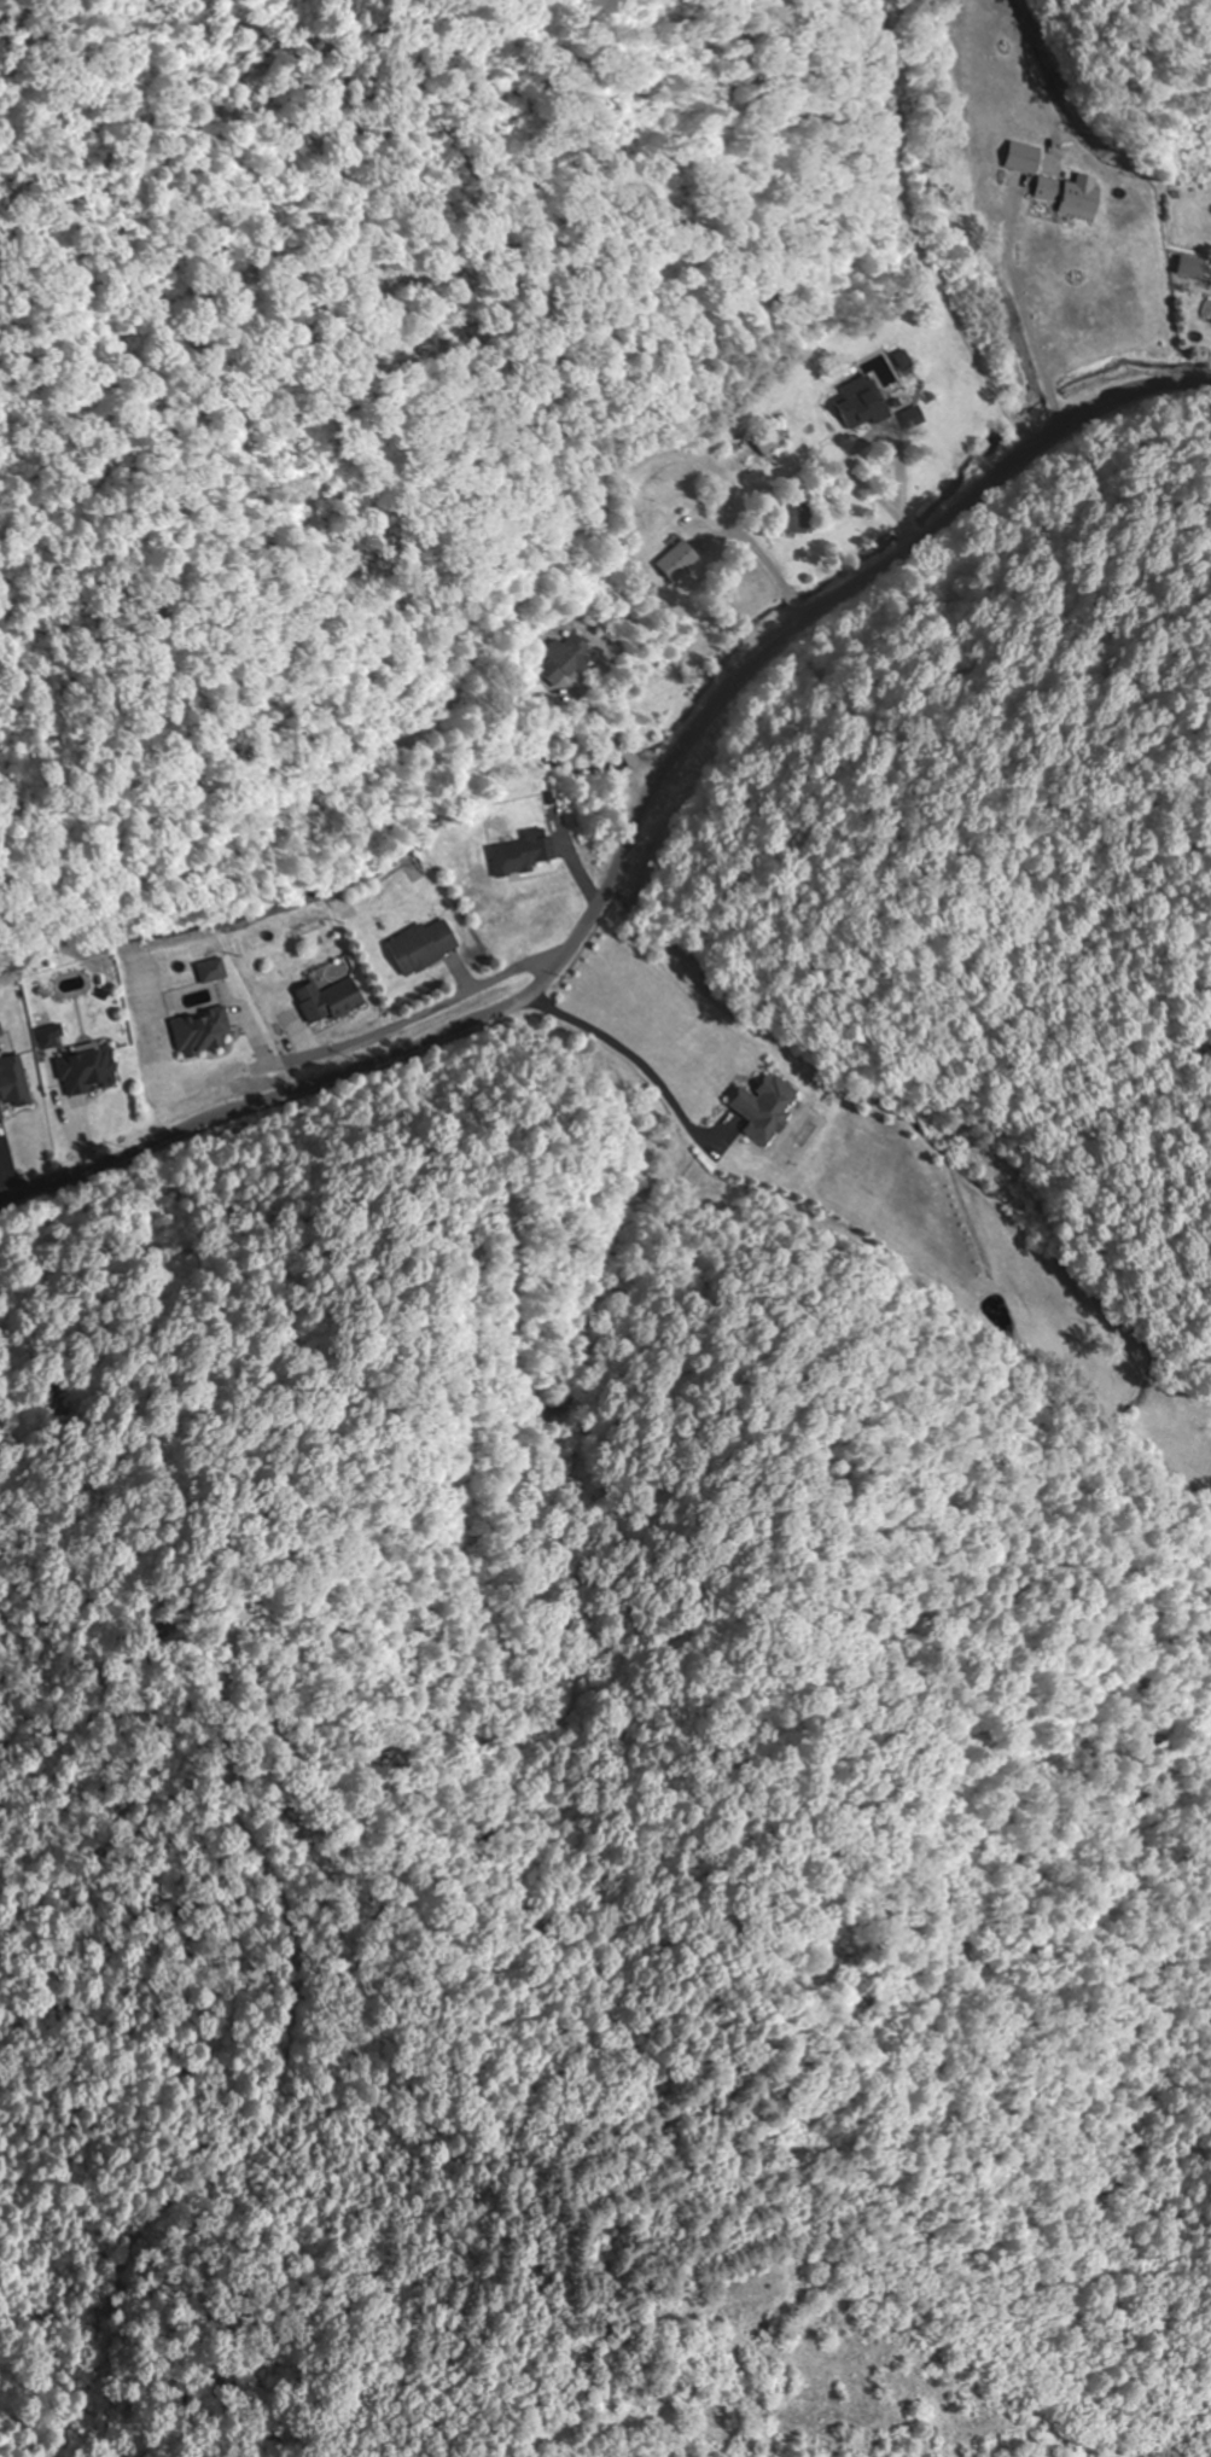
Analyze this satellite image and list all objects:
building: (1029, 159)
building: (1076, 196)
building: (867, 407)
building: (774, 442)
building: (796, 519)
building: (681, 563)
building: (569, 663)
road: (630, 832)
building: (525, 855)
building: (425, 949)
building: (331, 1003)
building: (203, 1034)
building: (1, 1035)
building: (88, 1073)
building: (13, 1087)
building: (770, 1110)

